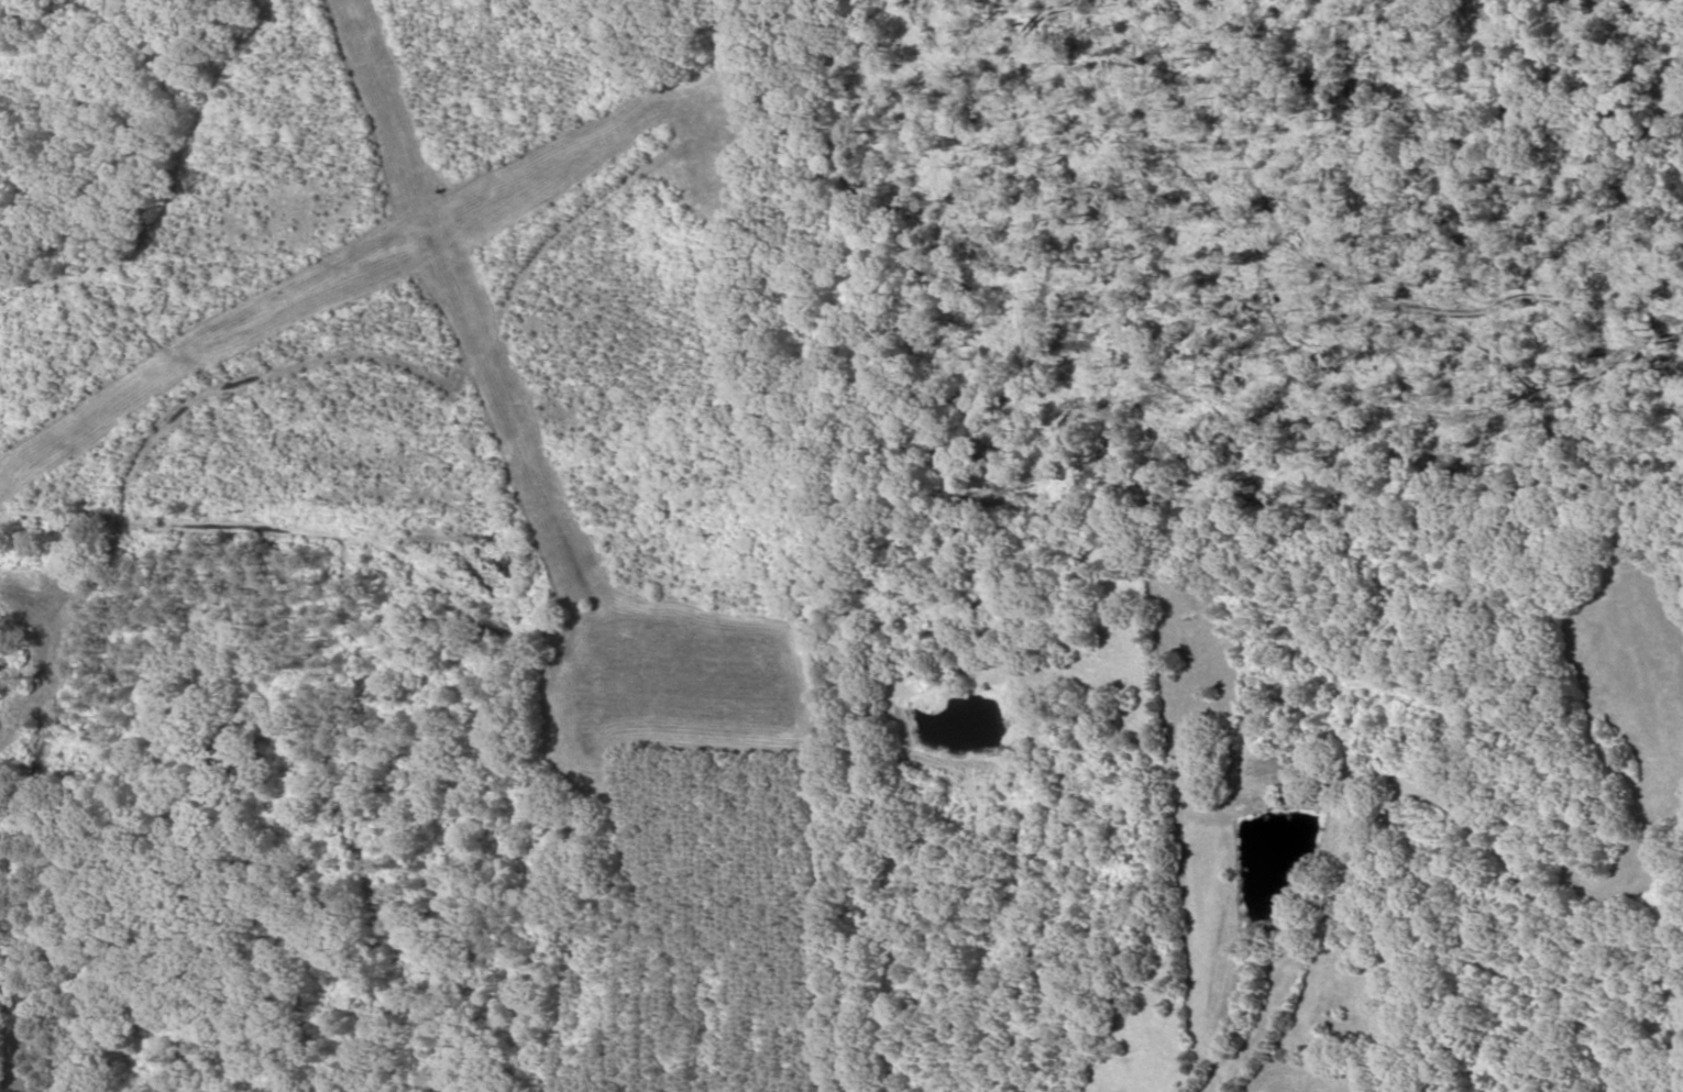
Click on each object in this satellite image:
road: (1206, 1011)

